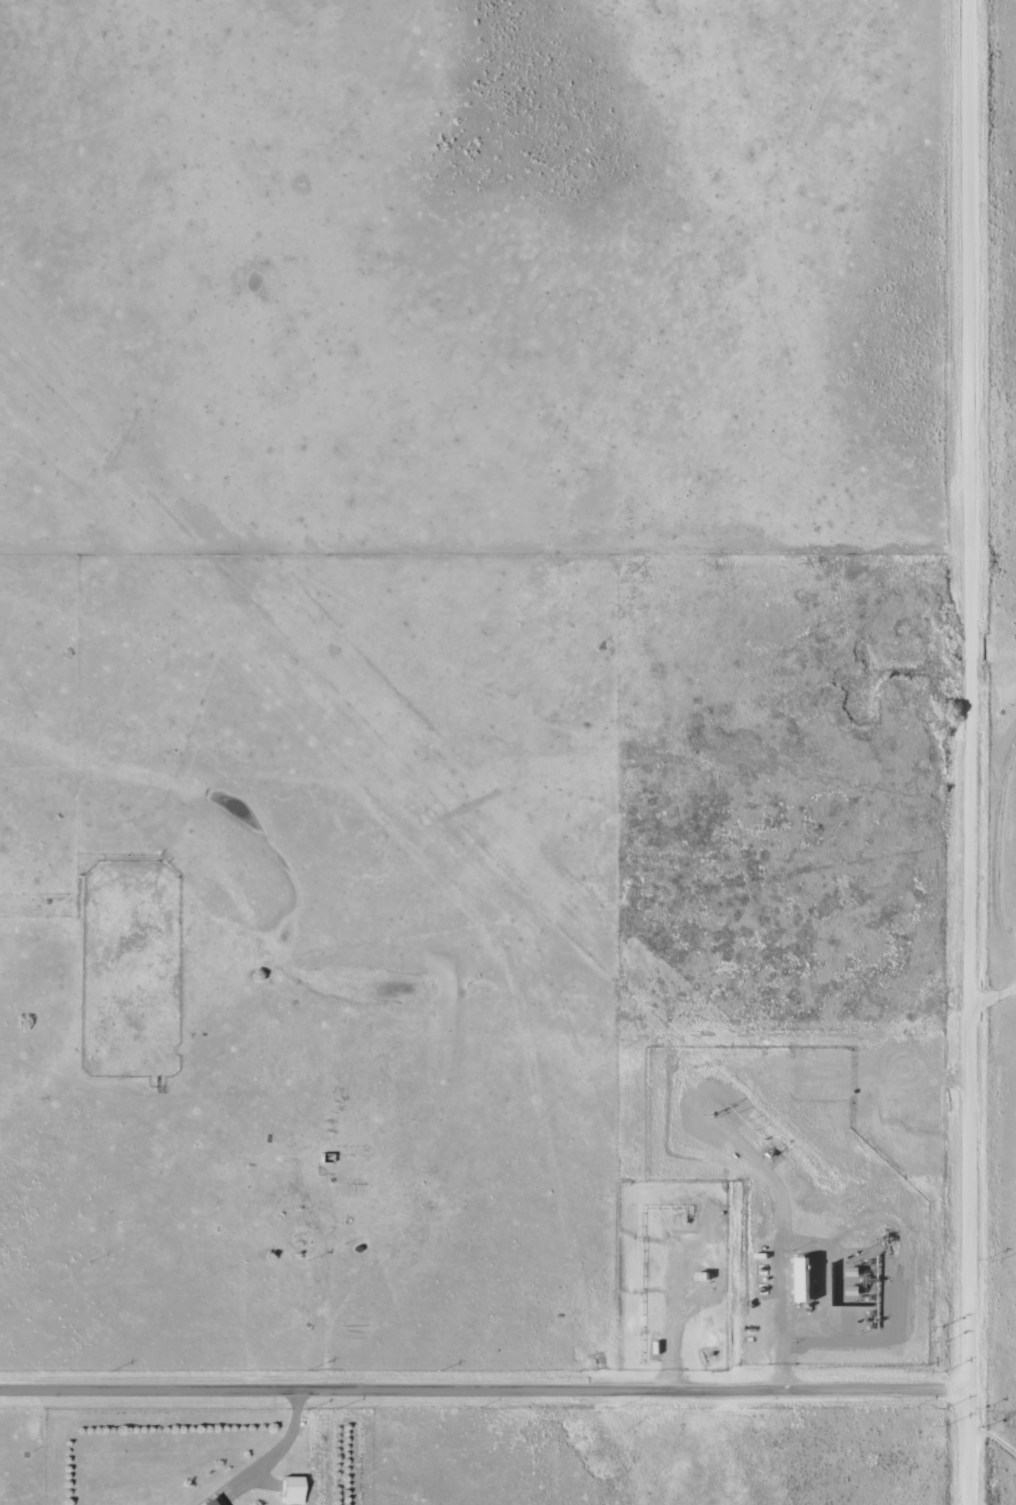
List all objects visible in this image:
road: (970, 752)
road: (485, 1387)
building: (292, 1490)

